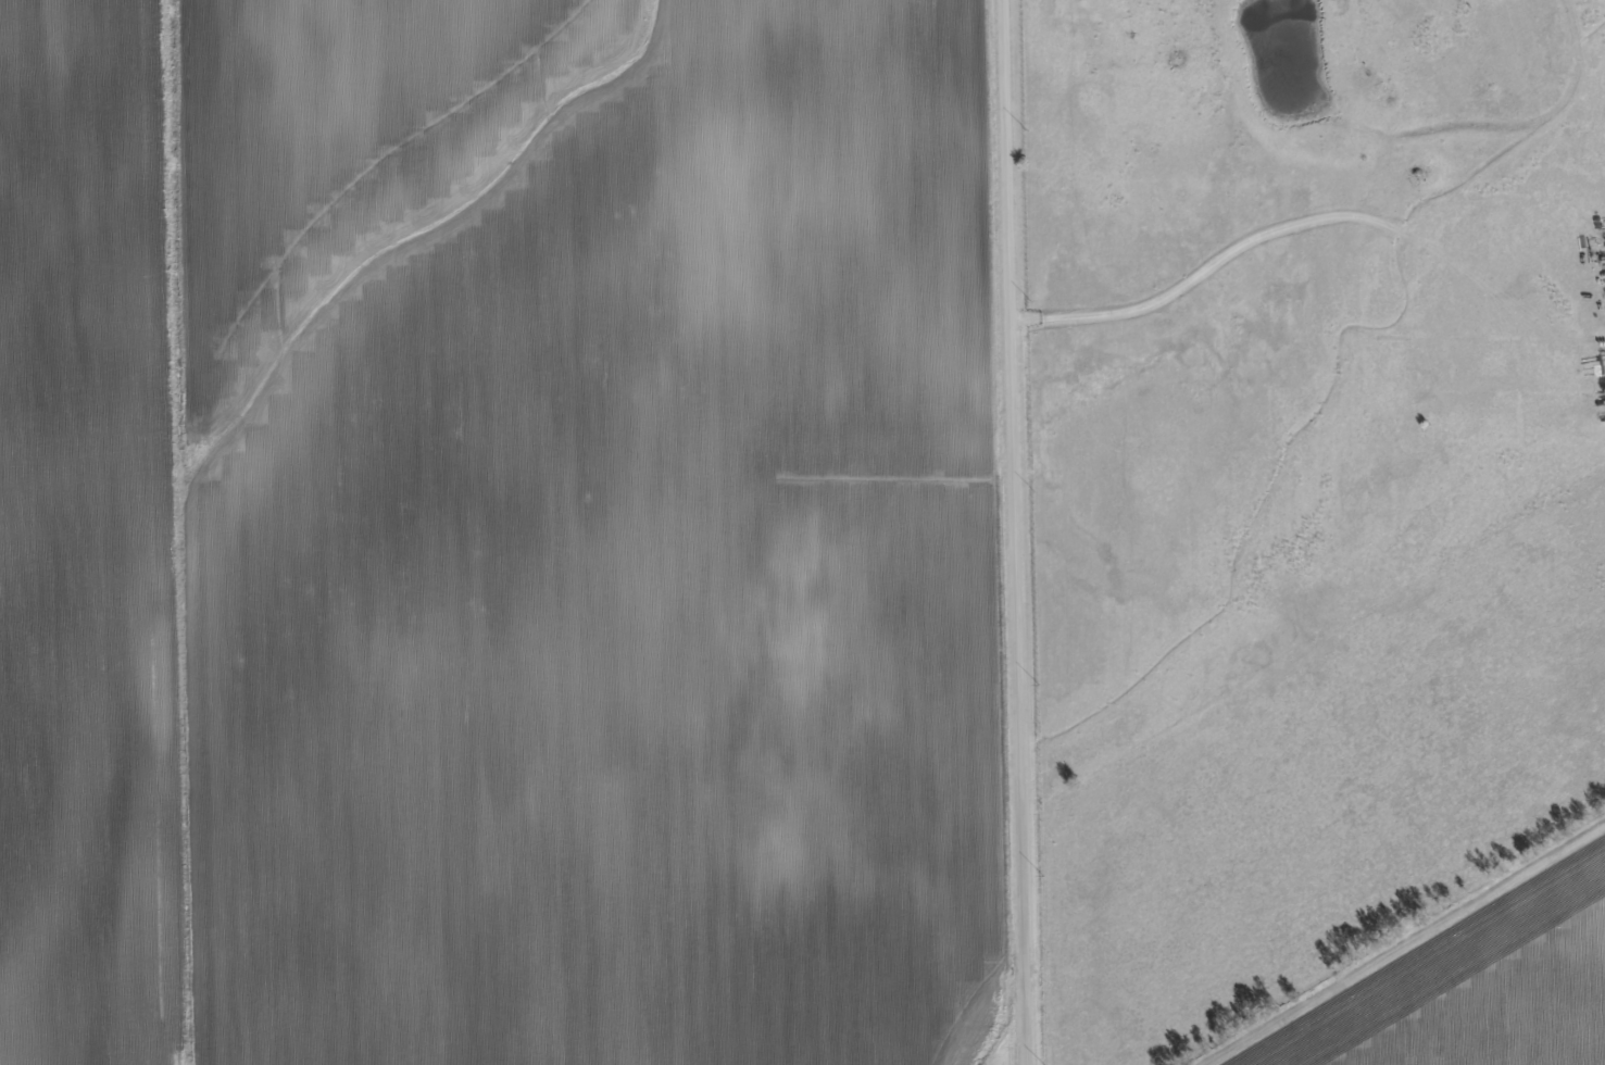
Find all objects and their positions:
road: (1017, 532)

